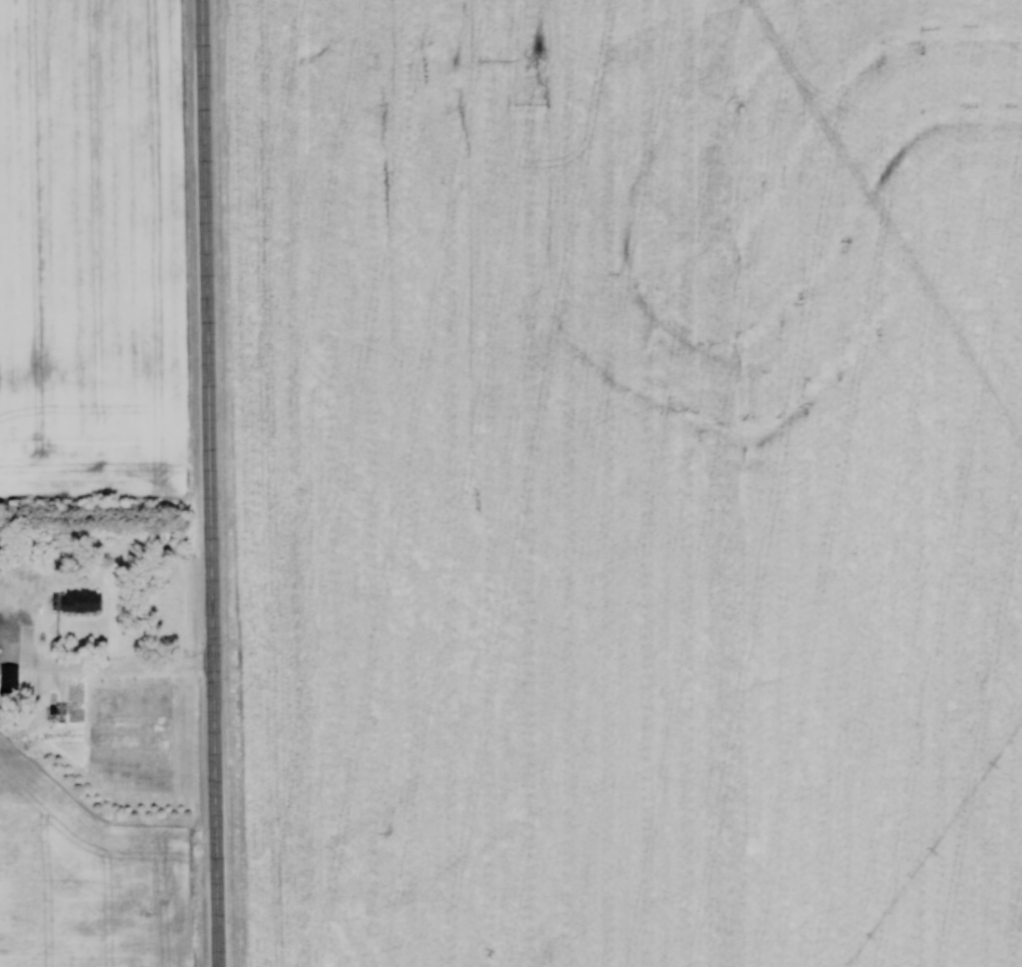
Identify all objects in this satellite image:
road: (209, 483)
building: (79, 601)
building: (6, 629)
building: (8, 679)

